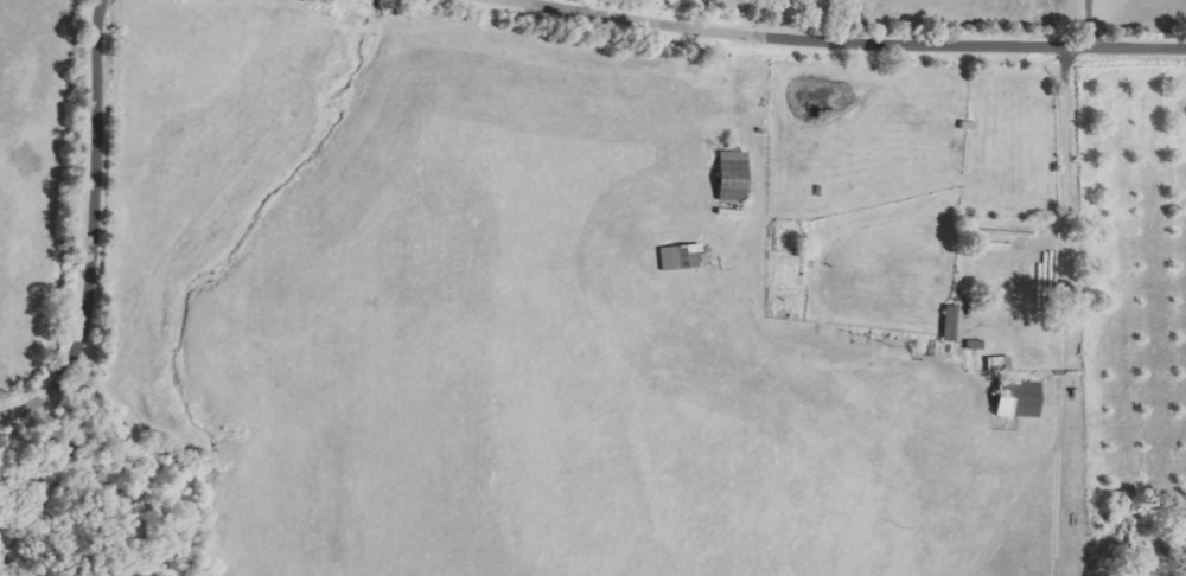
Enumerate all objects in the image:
road: (847, 43)
building: (729, 177)
road: (93, 230)
building: (678, 257)
road: (1058, 311)
building: (948, 324)
building: (996, 364)
building: (1014, 398)

